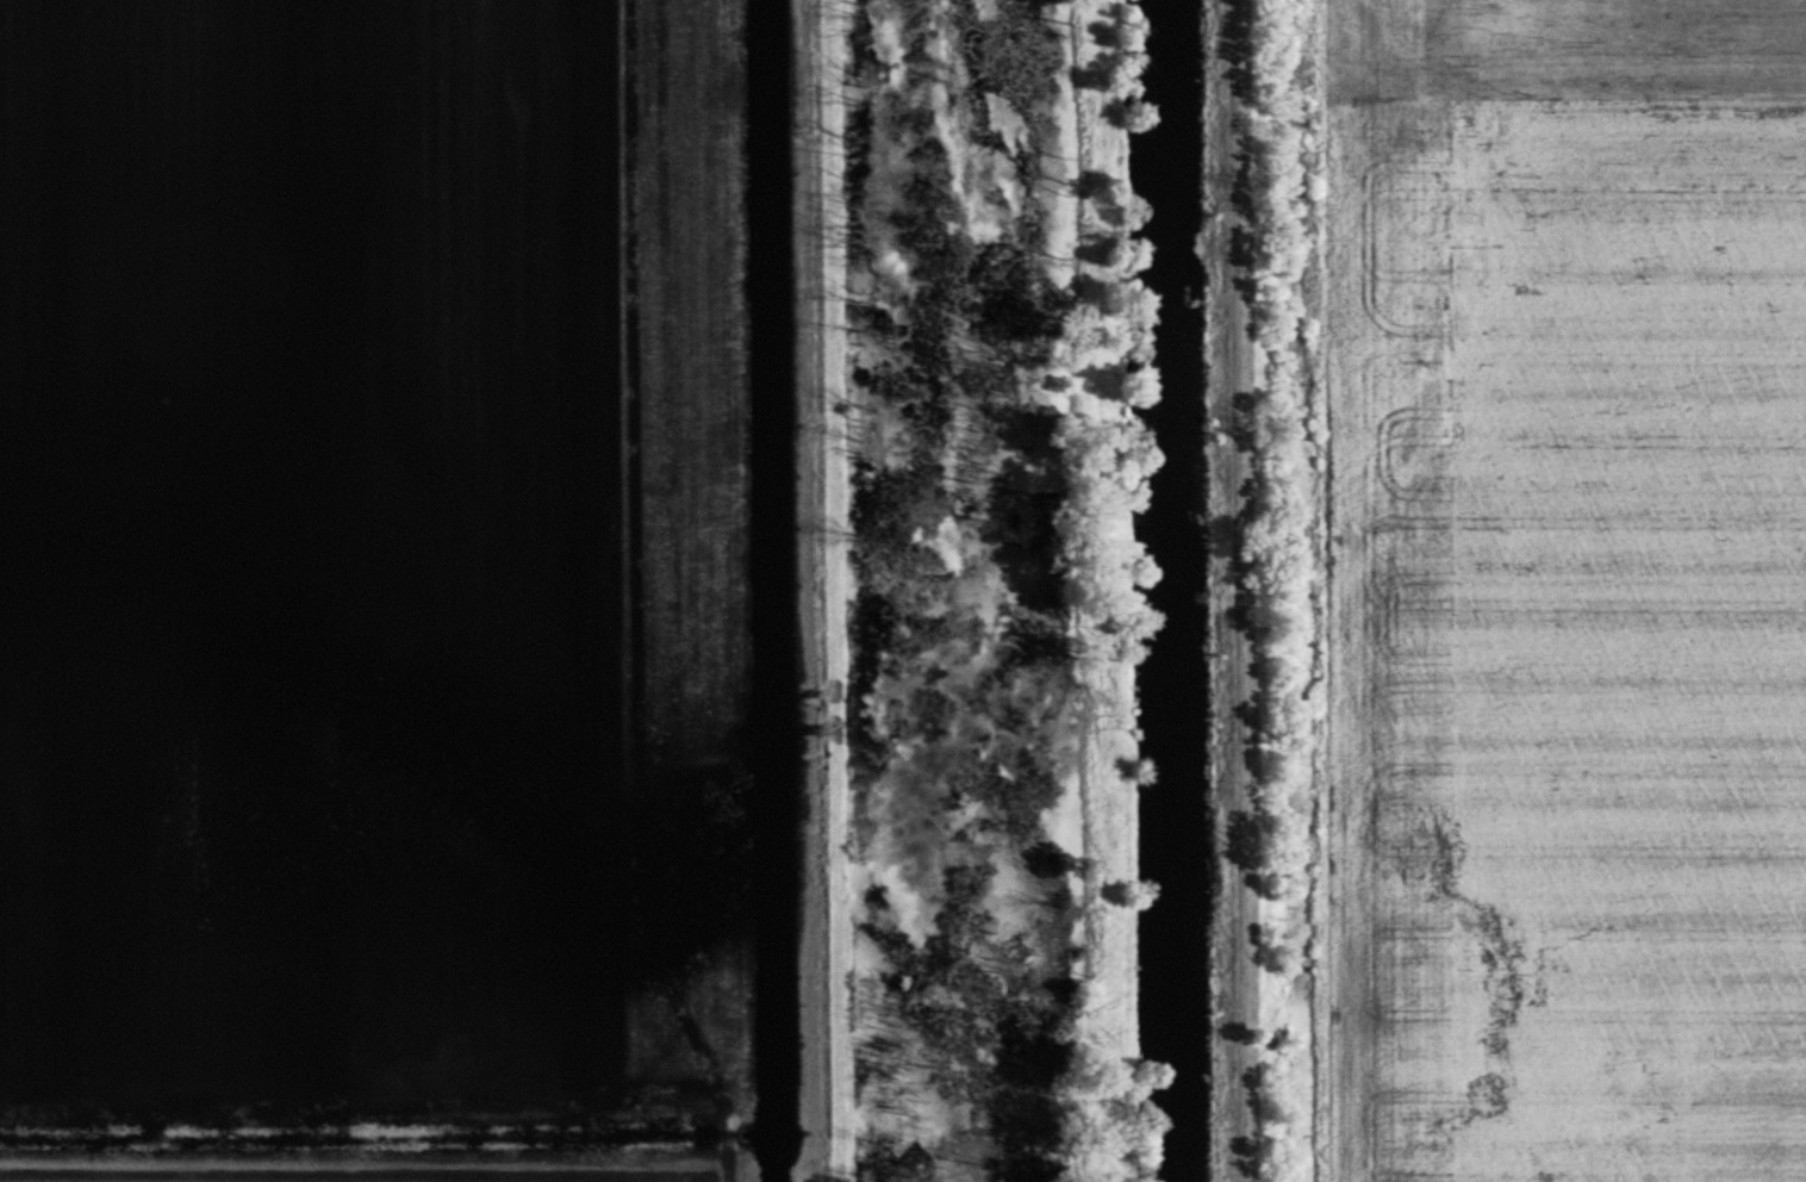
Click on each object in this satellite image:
road: (1243, 590)
crop: (1562, 590)

